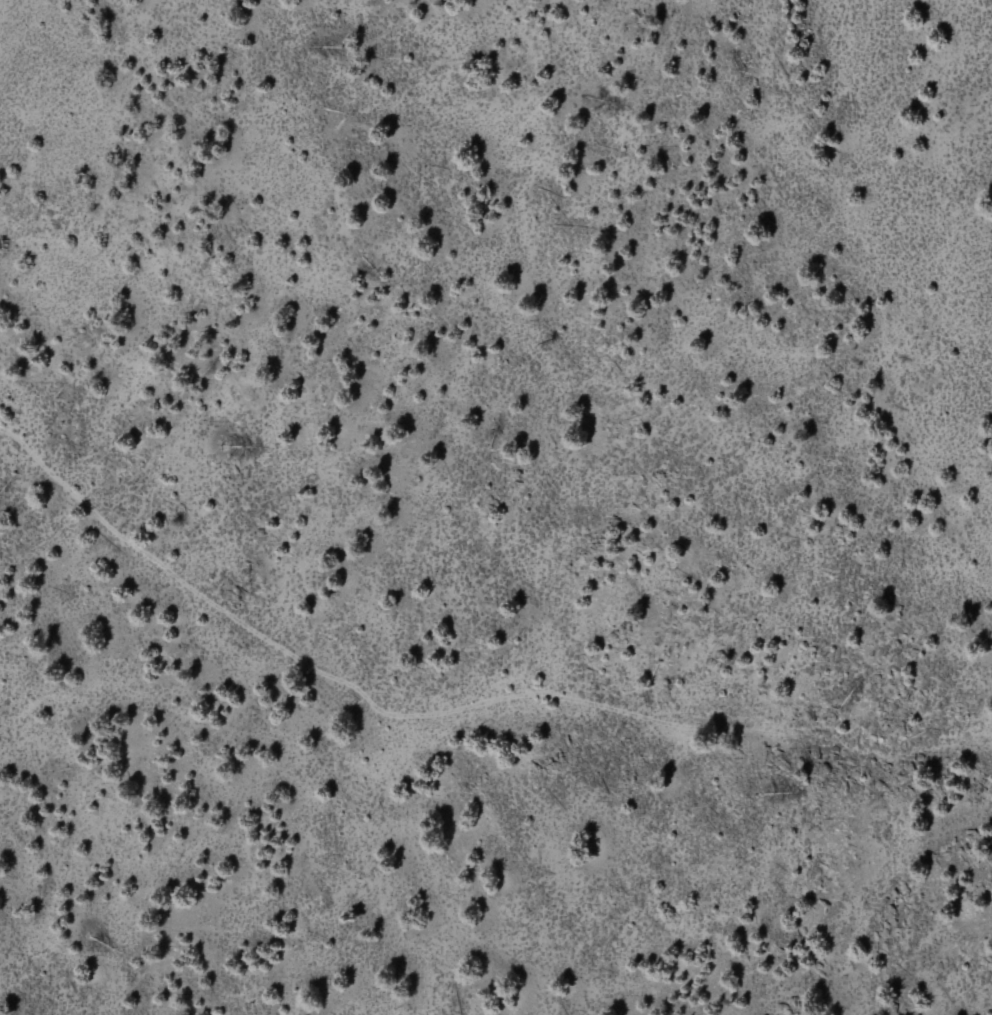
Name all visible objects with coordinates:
road: (452, 716)

